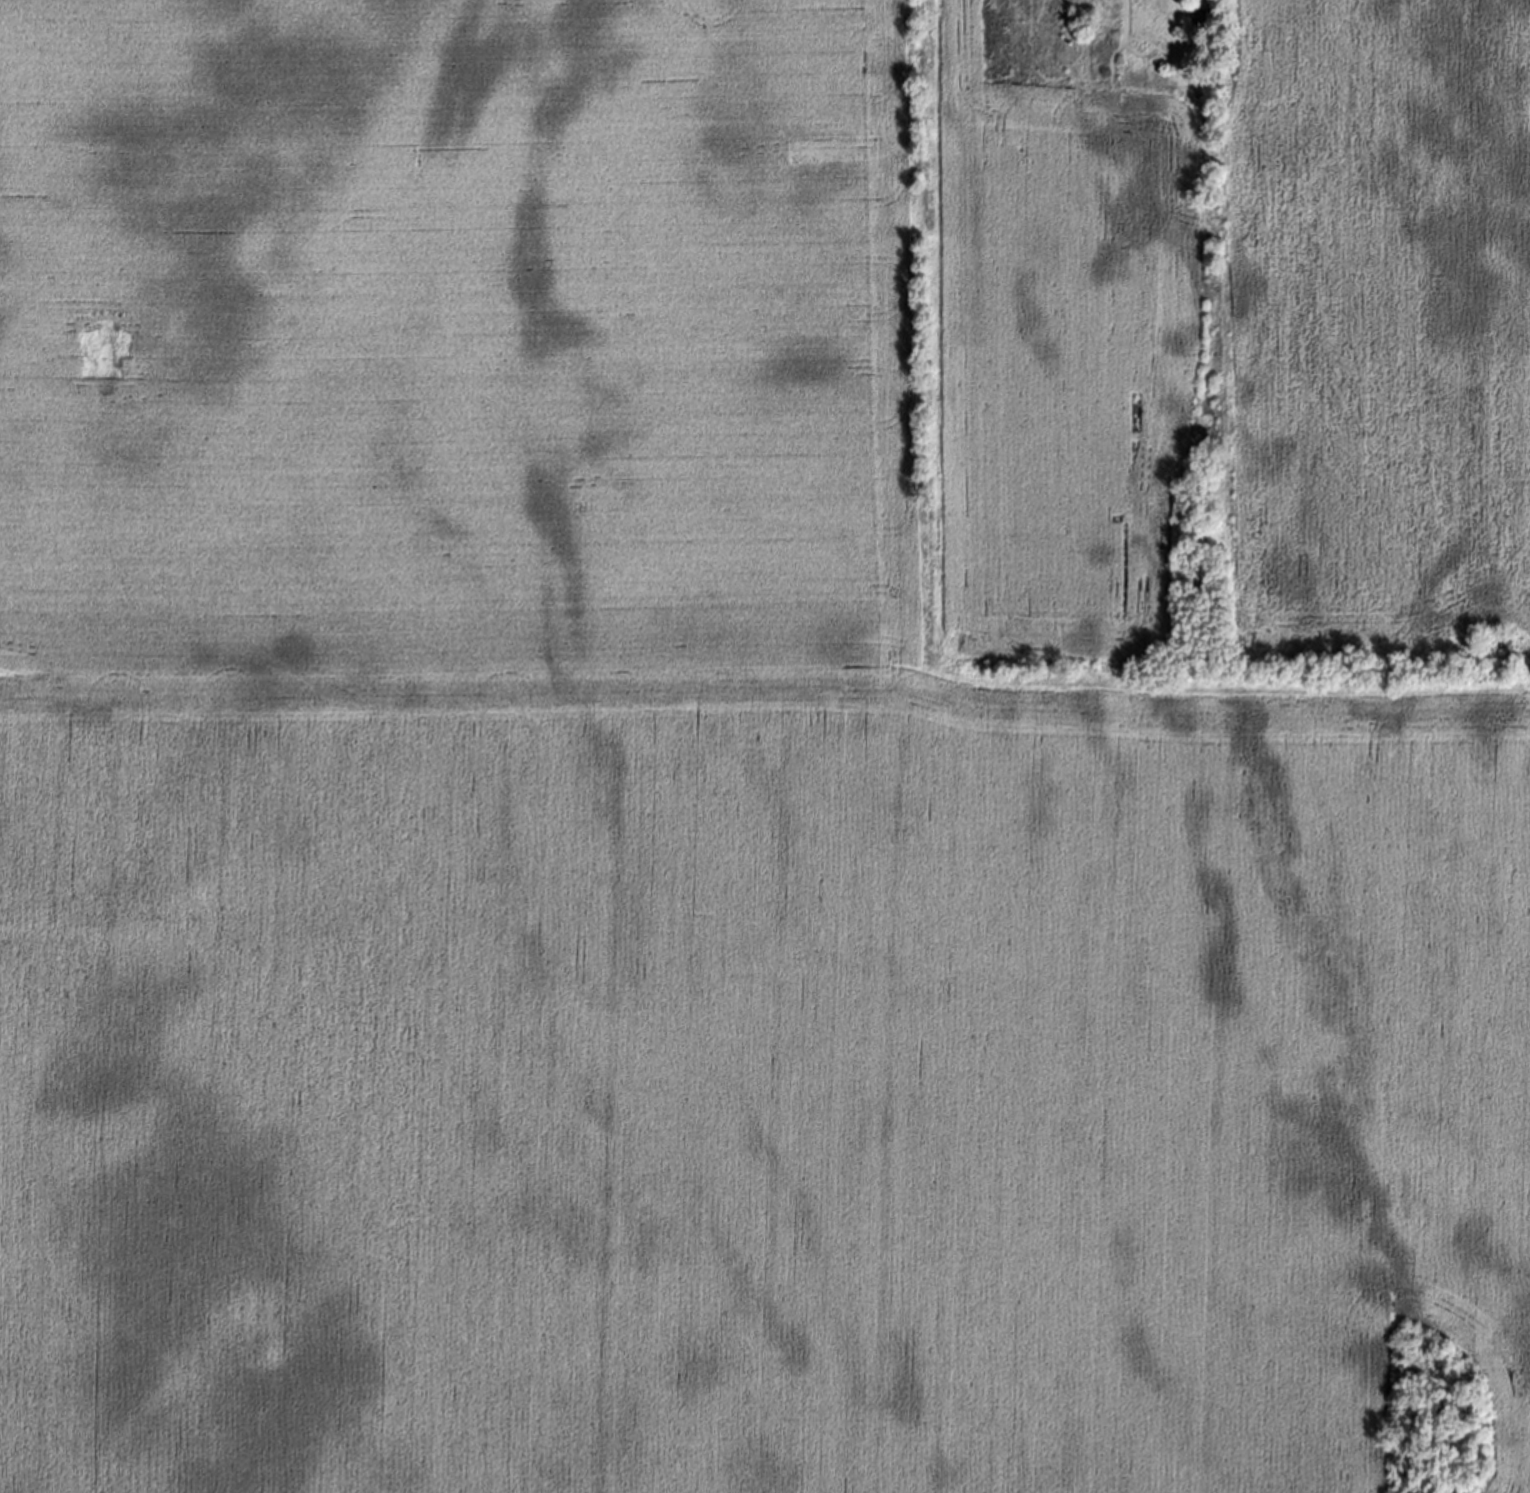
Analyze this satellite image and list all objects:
building: (1198, 19)

